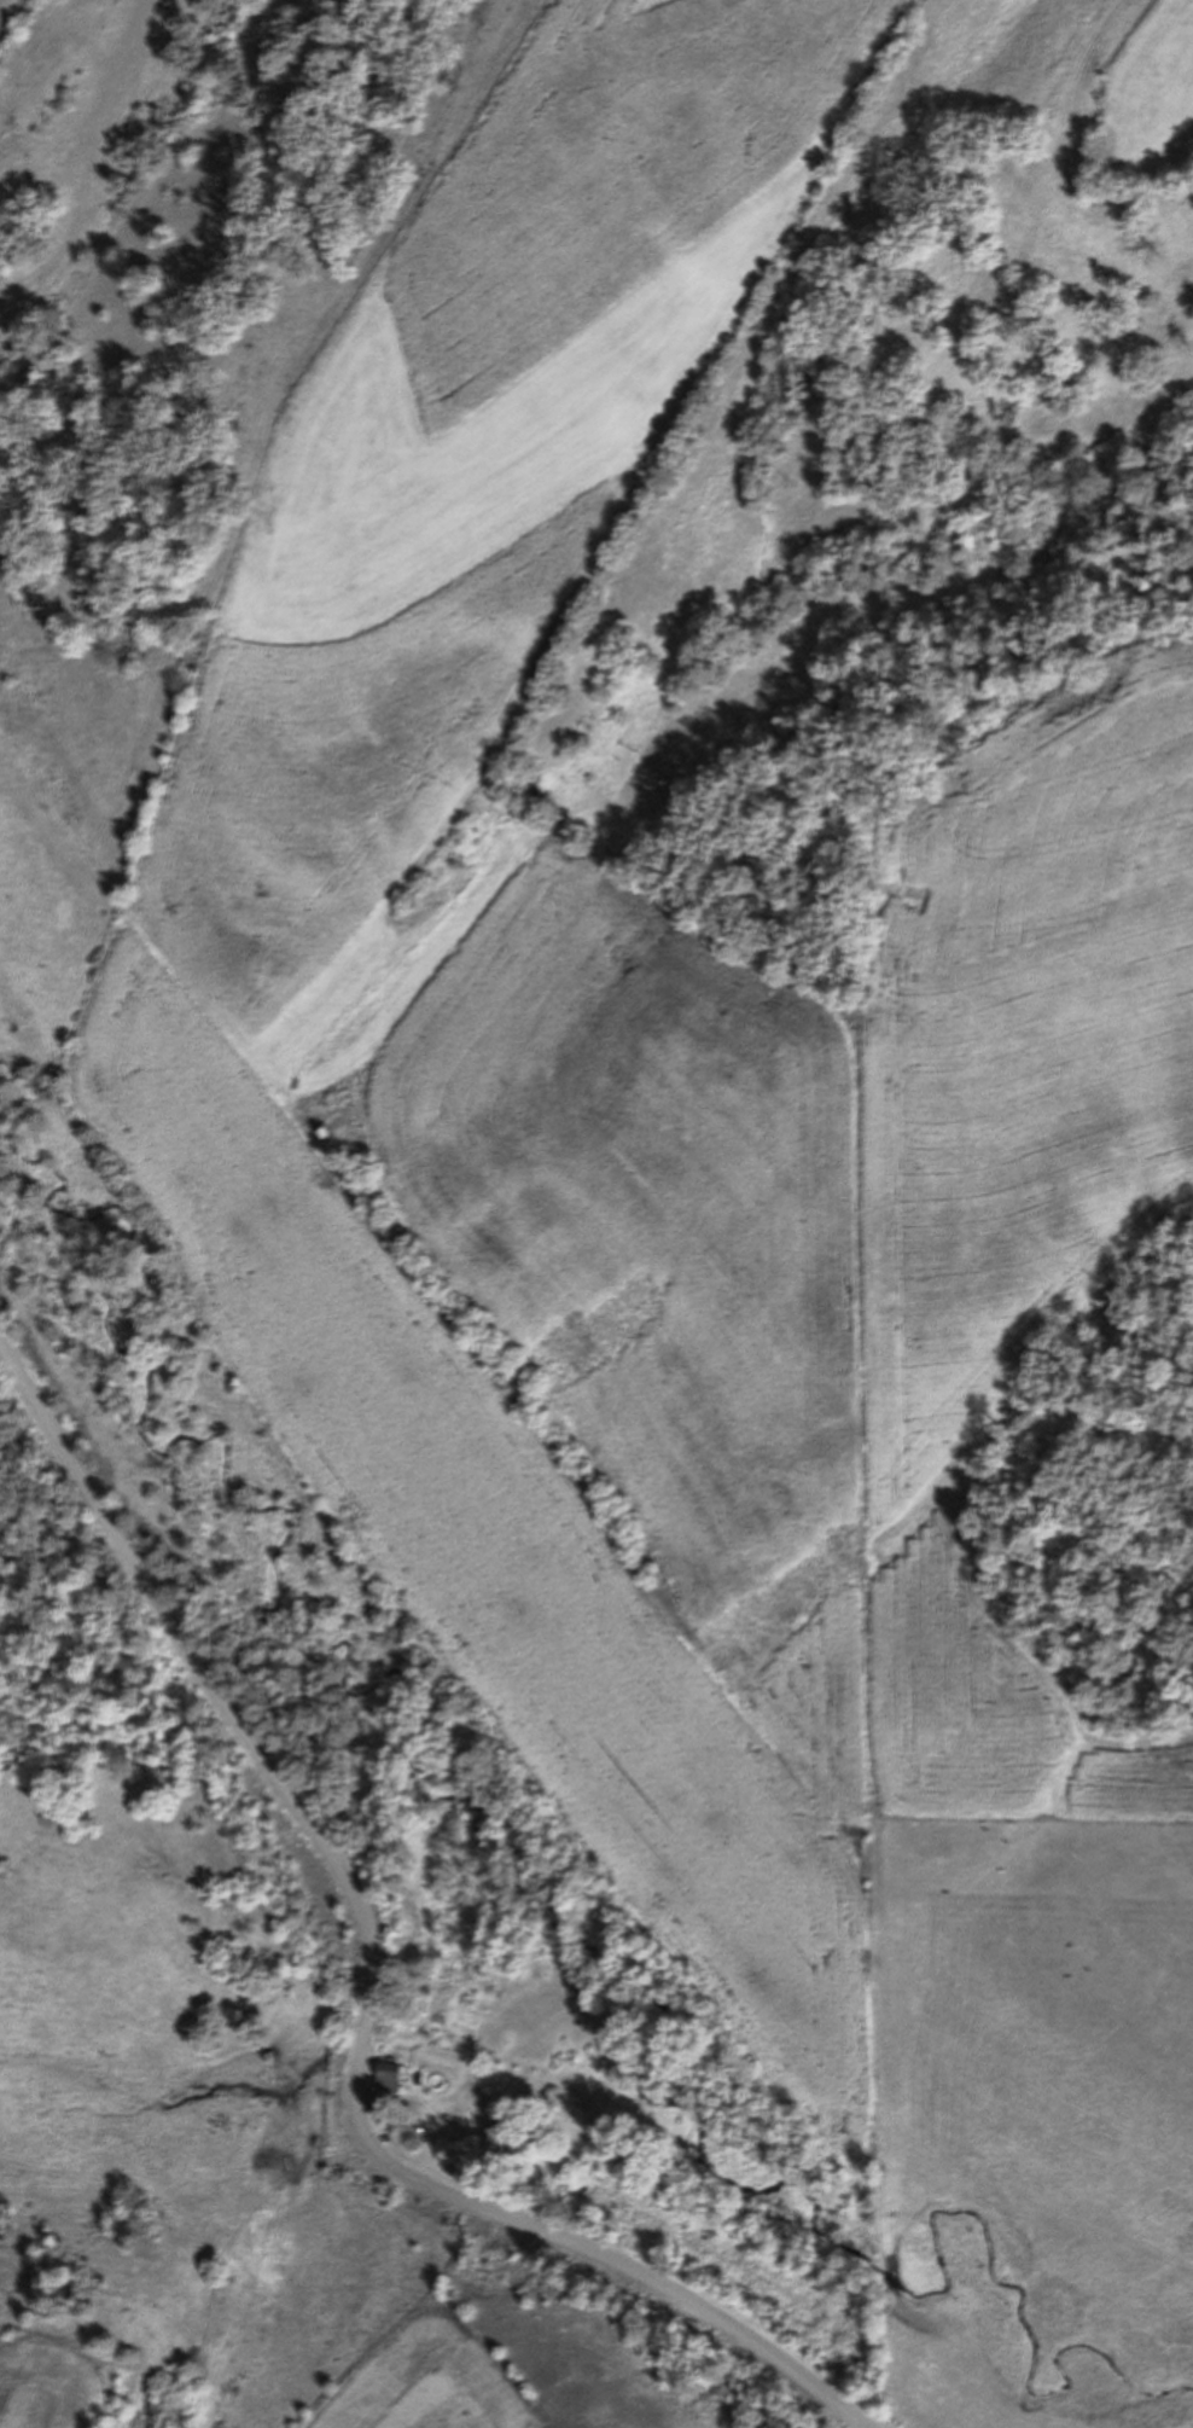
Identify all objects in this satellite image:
road: (367, 1985)
building: (388, 2078)
building: (495, 2142)

